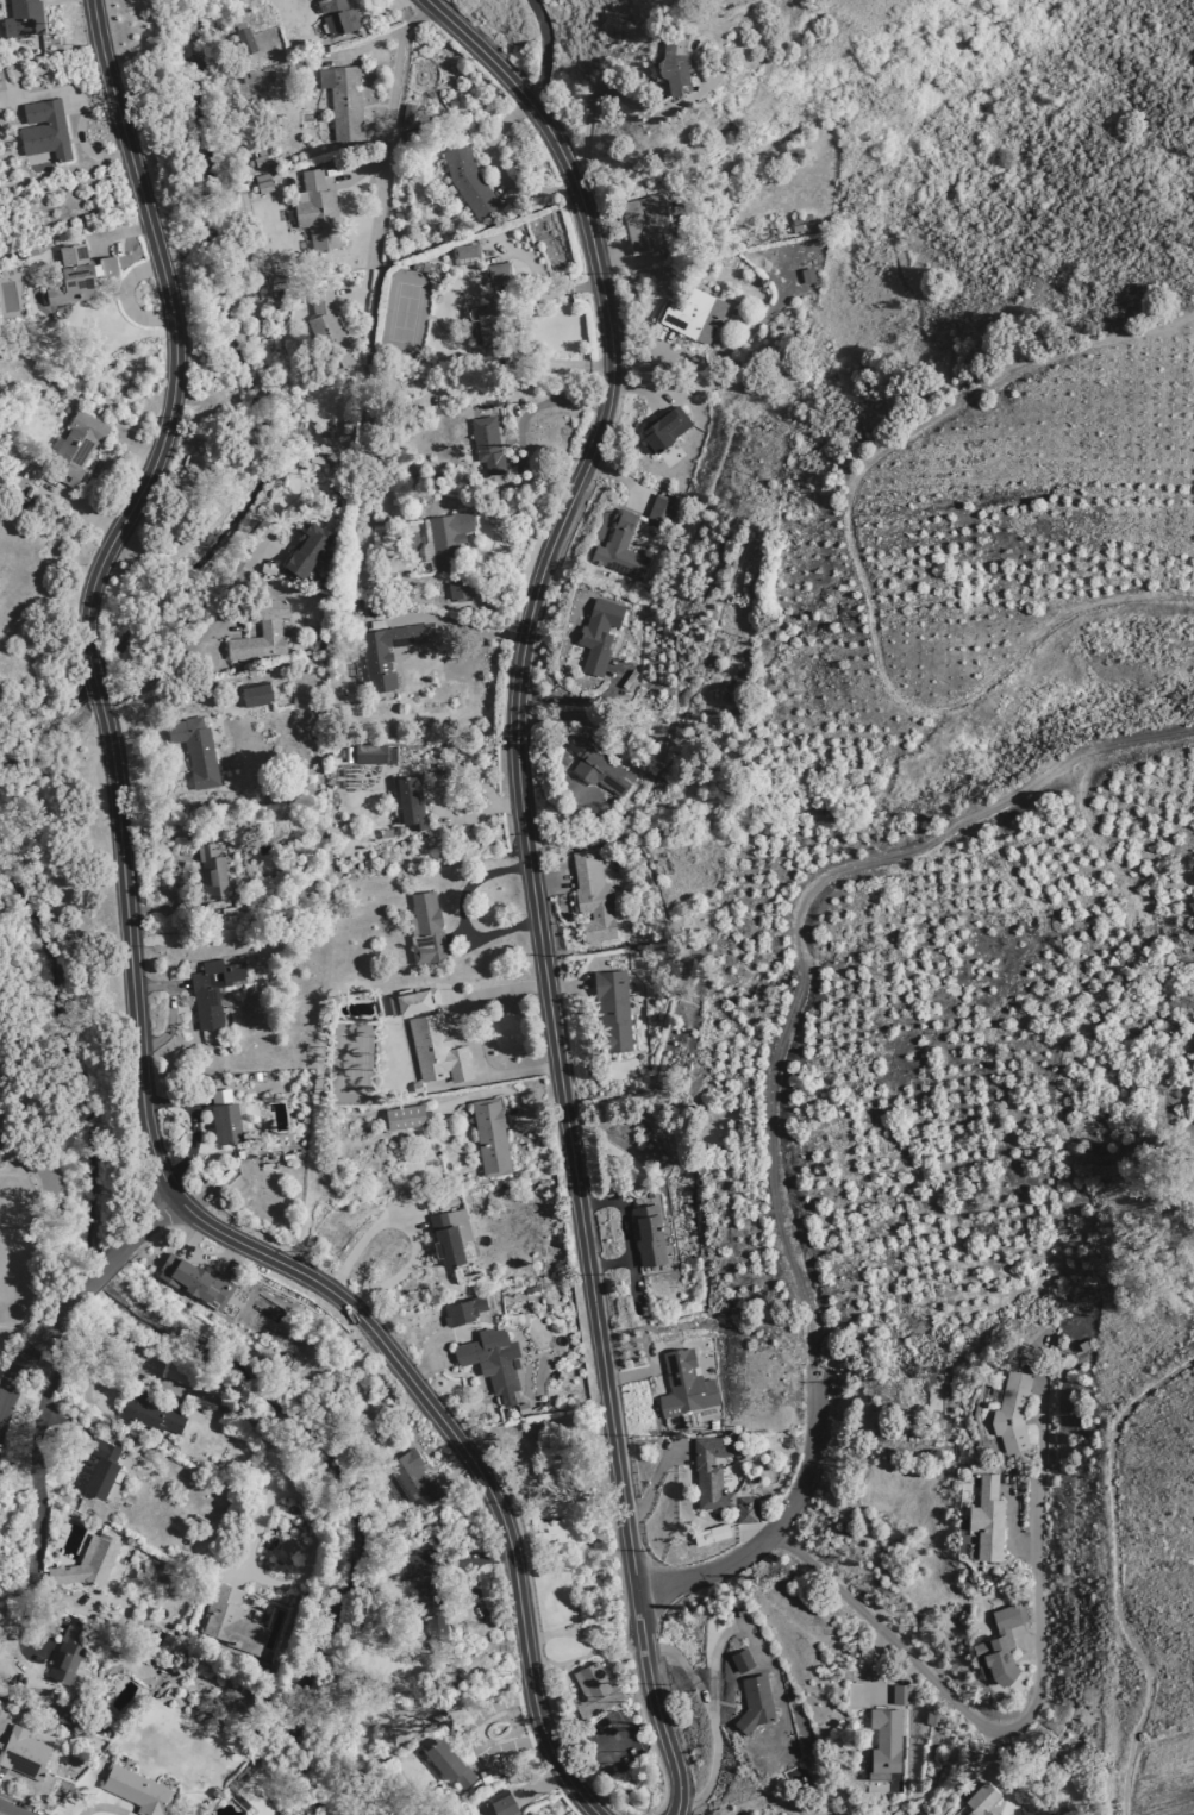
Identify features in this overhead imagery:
road: (390, 5)
building: (337, 17)
building: (24, 18)
building: (244, 38)
road: (363, 48)
road: (544, 50)
building: (674, 61)
building: (276, 76)
building: (250, 77)
road: (510, 81)
building: (1, 82)
road: (12, 85)
road: (90, 92)
road: (613, 93)
road: (36, 96)
building: (345, 104)
building: (407, 117)
building: (44, 130)
road: (81, 143)
road: (383, 155)
building: (260, 161)
road: (357, 171)
road: (500, 171)
building: (468, 181)
building: (264, 187)
building: (317, 211)
building: (801, 219)
building: (644, 220)
building: (802, 227)
road: (120, 232)
building: (465, 251)
road: (629, 262)
building: (415, 265)
building: (429, 267)
building: (496, 274)
building: (70, 275)
road: (542, 275)
building: (806, 276)
road: (125, 296)
park: (404, 313)
building: (694, 315)
building: (485, 331)
building: (329, 332)
road: (174, 339)
road: (643, 357)
road: (571, 364)
road: (642, 388)
road: (542, 403)
building: (370, 419)
building: (345, 426)
building: (665, 430)
building: (327, 434)
building: (487, 446)
building: (75, 449)
building: (315, 459)
road: (619, 478)
building: (29, 493)
road: (79, 509)
building: (661, 512)
road: (498, 513)
building: (448, 539)
building: (620, 549)
building: (308, 550)
road: (856, 567)
building: (460, 589)
road: (505, 611)
road: (460, 625)
building: (262, 634)
building: (598, 634)
building: (377, 656)
road: (176, 659)
road: (95, 687)
building: (256, 695)
road: (176, 696)
road: (558, 697)
road: (552, 718)
building: (195, 750)
building: (369, 753)
building: (348, 755)
road: (410, 765)
building: (596, 766)
road: (443, 777)
building: (411, 803)
building: (211, 872)
road: (549, 882)
building: (593, 897)
road: (171, 901)
road: (461, 914)
road: (794, 920)
building: (426, 928)
road: (460, 940)
road: (176, 985)
road: (567, 988)
building: (212, 990)
road: (548, 991)
road: (535, 996)
road: (169, 1009)
building: (612, 1010)
building: (431, 1037)
road: (470, 1037)
park: (352, 1063)
road: (657, 1065)
building: (255, 1076)
road: (457, 1084)
building: (417, 1087)
road: (460, 1100)
road: (570, 1102)
road: (199, 1104)
road: (537, 1112)
building: (224, 1118)
building: (405, 1118)
road: (193, 1122)
building: (490, 1137)
road: (154, 1157)
building: (29, 1160)
road: (210, 1191)
road: (144, 1226)
road: (406, 1227)
road: (626, 1234)
building: (649, 1235)
building: (446, 1240)
road: (608, 1262)
road: (102, 1269)
building: (193, 1278)
building: (531, 1289)
building: (463, 1310)
road: (38, 1339)
building: (1081, 1347)
road: (427, 1359)
building: (493, 1360)
building: (180, 1372)
building: (560, 1375)
road: (631, 1375)
building: (684, 1384)
building: (523, 1408)
building: (150, 1412)
building: (1012, 1412)
road: (481, 1463)
building: (100, 1467)
road: (461, 1476)
building: (413, 1478)
building: (717, 1479)
road: (654, 1482)
road: (271, 1483)
road: (281, 1492)
road: (39, 1500)
building: (987, 1519)
road: (529, 1521)
road: (1007, 1521)
road: (781, 1522)
road: (529, 1532)
park: (563, 1533)
building: (712, 1534)
road: (571, 1554)
road: (458, 1557)
building: (88, 1564)
road: (1115, 1573)
building: (420, 1579)
road: (471, 1589)
road: (632, 1614)
building: (231, 1620)
road: (582, 1627)
building: (168, 1639)
road: (719, 1639)
road: (539, 1642)
road: (1029, 1644)
road: (525, 1645)
building: (999, 1646)
building: (65, 1656)
building: (742, 1659)
road: (875, 1665)
fountain: (571, 1685)
road: (576, 1690)
building: (594, 1691)
building: (901, 1694)
road: (1036, 1702)
building: (755, 1703)
building: (442, 1713)
building: (436, 1717)
building: (931, 1717)
road: (713, 1719)
road: (469, 1738)
building: (886, 1740)
parking lot: (614, 1742)
road: (598, 1752)
building: (24, 1753)
road: (482, 1759)
building: (448, 1763)
building: (488, 1776)
crop: (1148, 1776)
road: (542, 1783)
building: (135, 1790)
building: (981, 1798)
building: (240, 1802)
building: (502, 1803)
road: (105, 1808)
road: (693, 1808)
road: (11, 1810)
road: (10, 1813)

